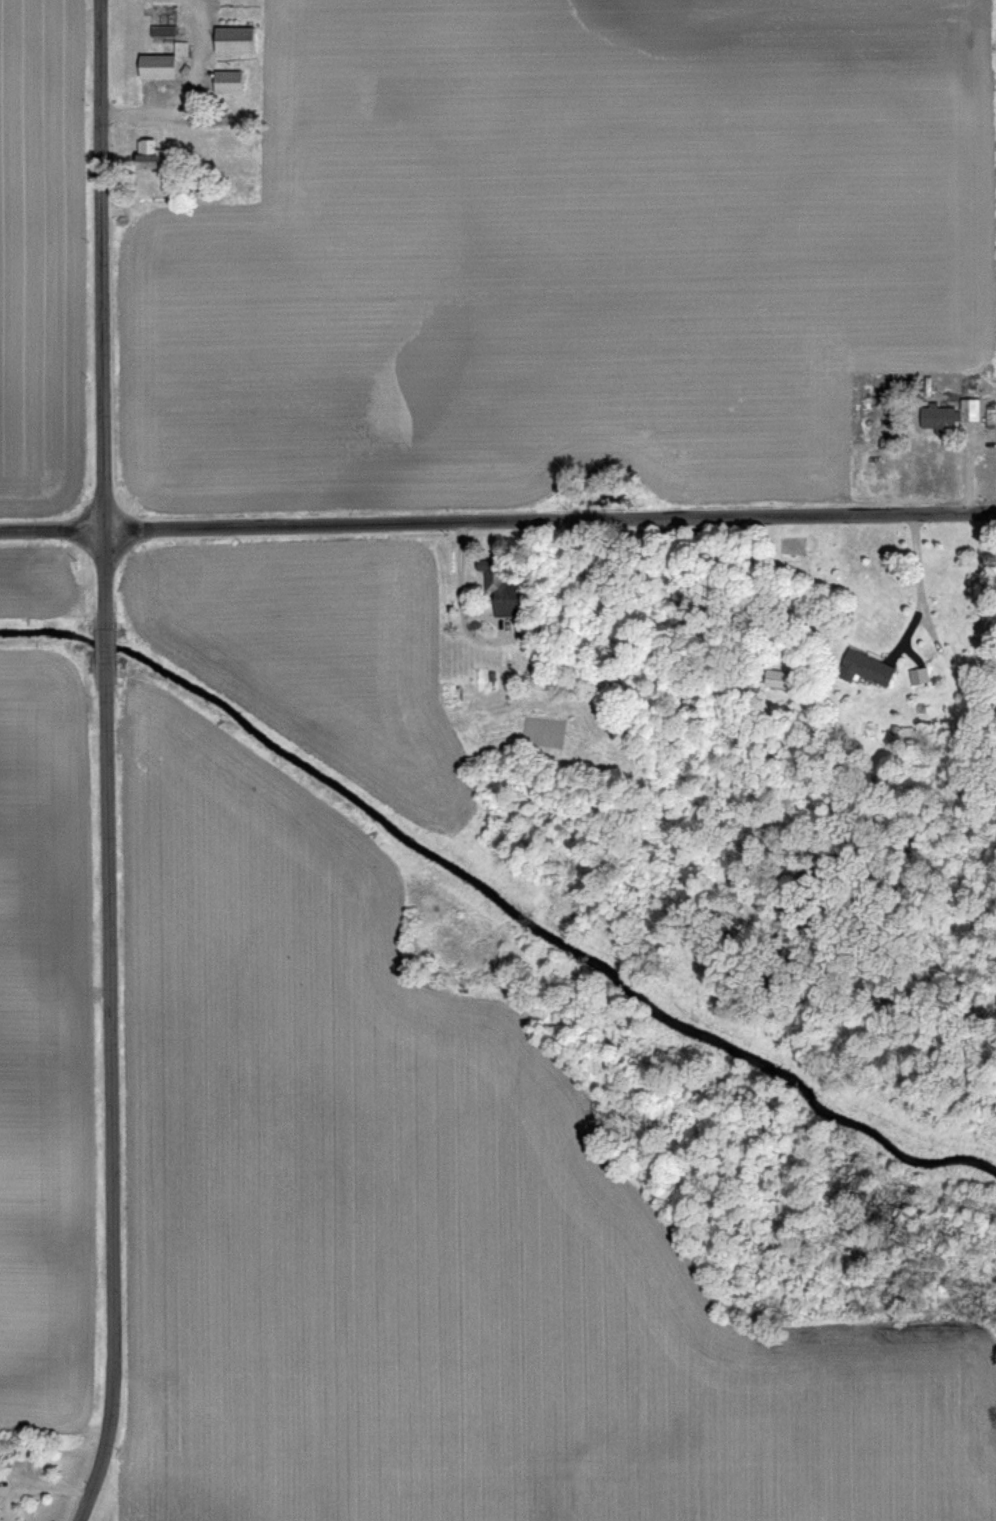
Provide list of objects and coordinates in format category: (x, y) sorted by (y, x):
building: (233, 39)
building: (161, 63)
building: (227, 81)
road: (191, 90)
building: (211, 117)
building: (148, 154)
road: (104, 312)
building: (949, 415)
road: (497, 518)
road: (914, 565)
building: (500, 587)
road: (106, 640)
road: (902, 653)
building: (864, 668)
building: (778, 679)
building: (451, 694)
road: (106, 1058)
road: (88, 1489)

